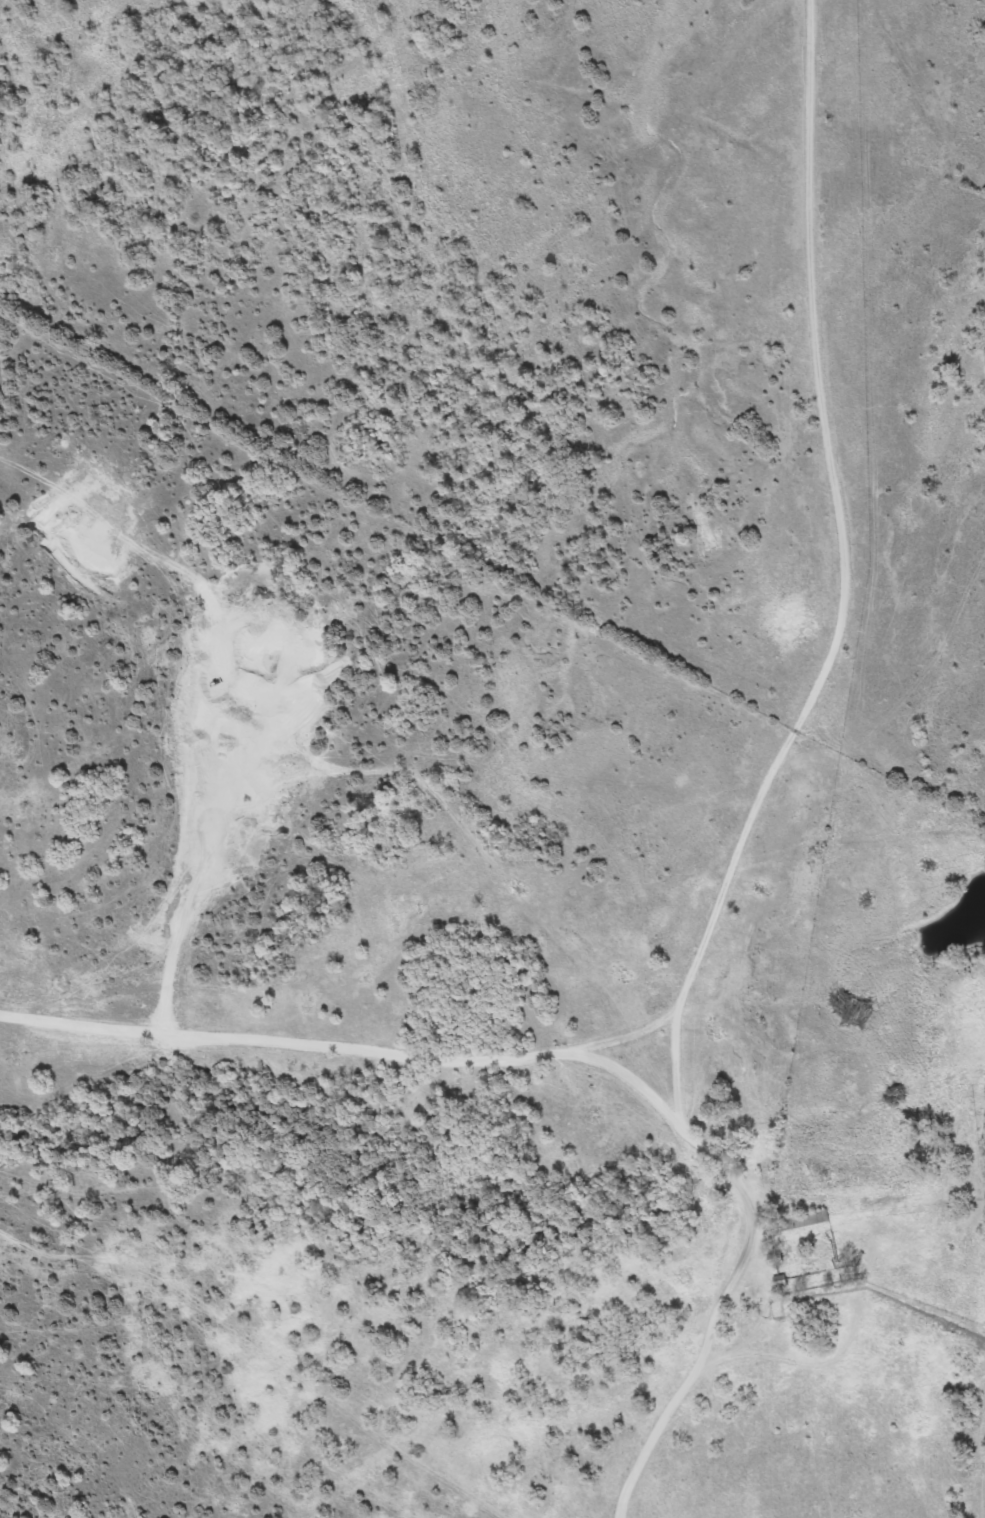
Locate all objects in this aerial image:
road: (849, 657)
road: (341, 1048)
building: (800, 1220)
building: (778, 1259)
road: (760, 1285)

